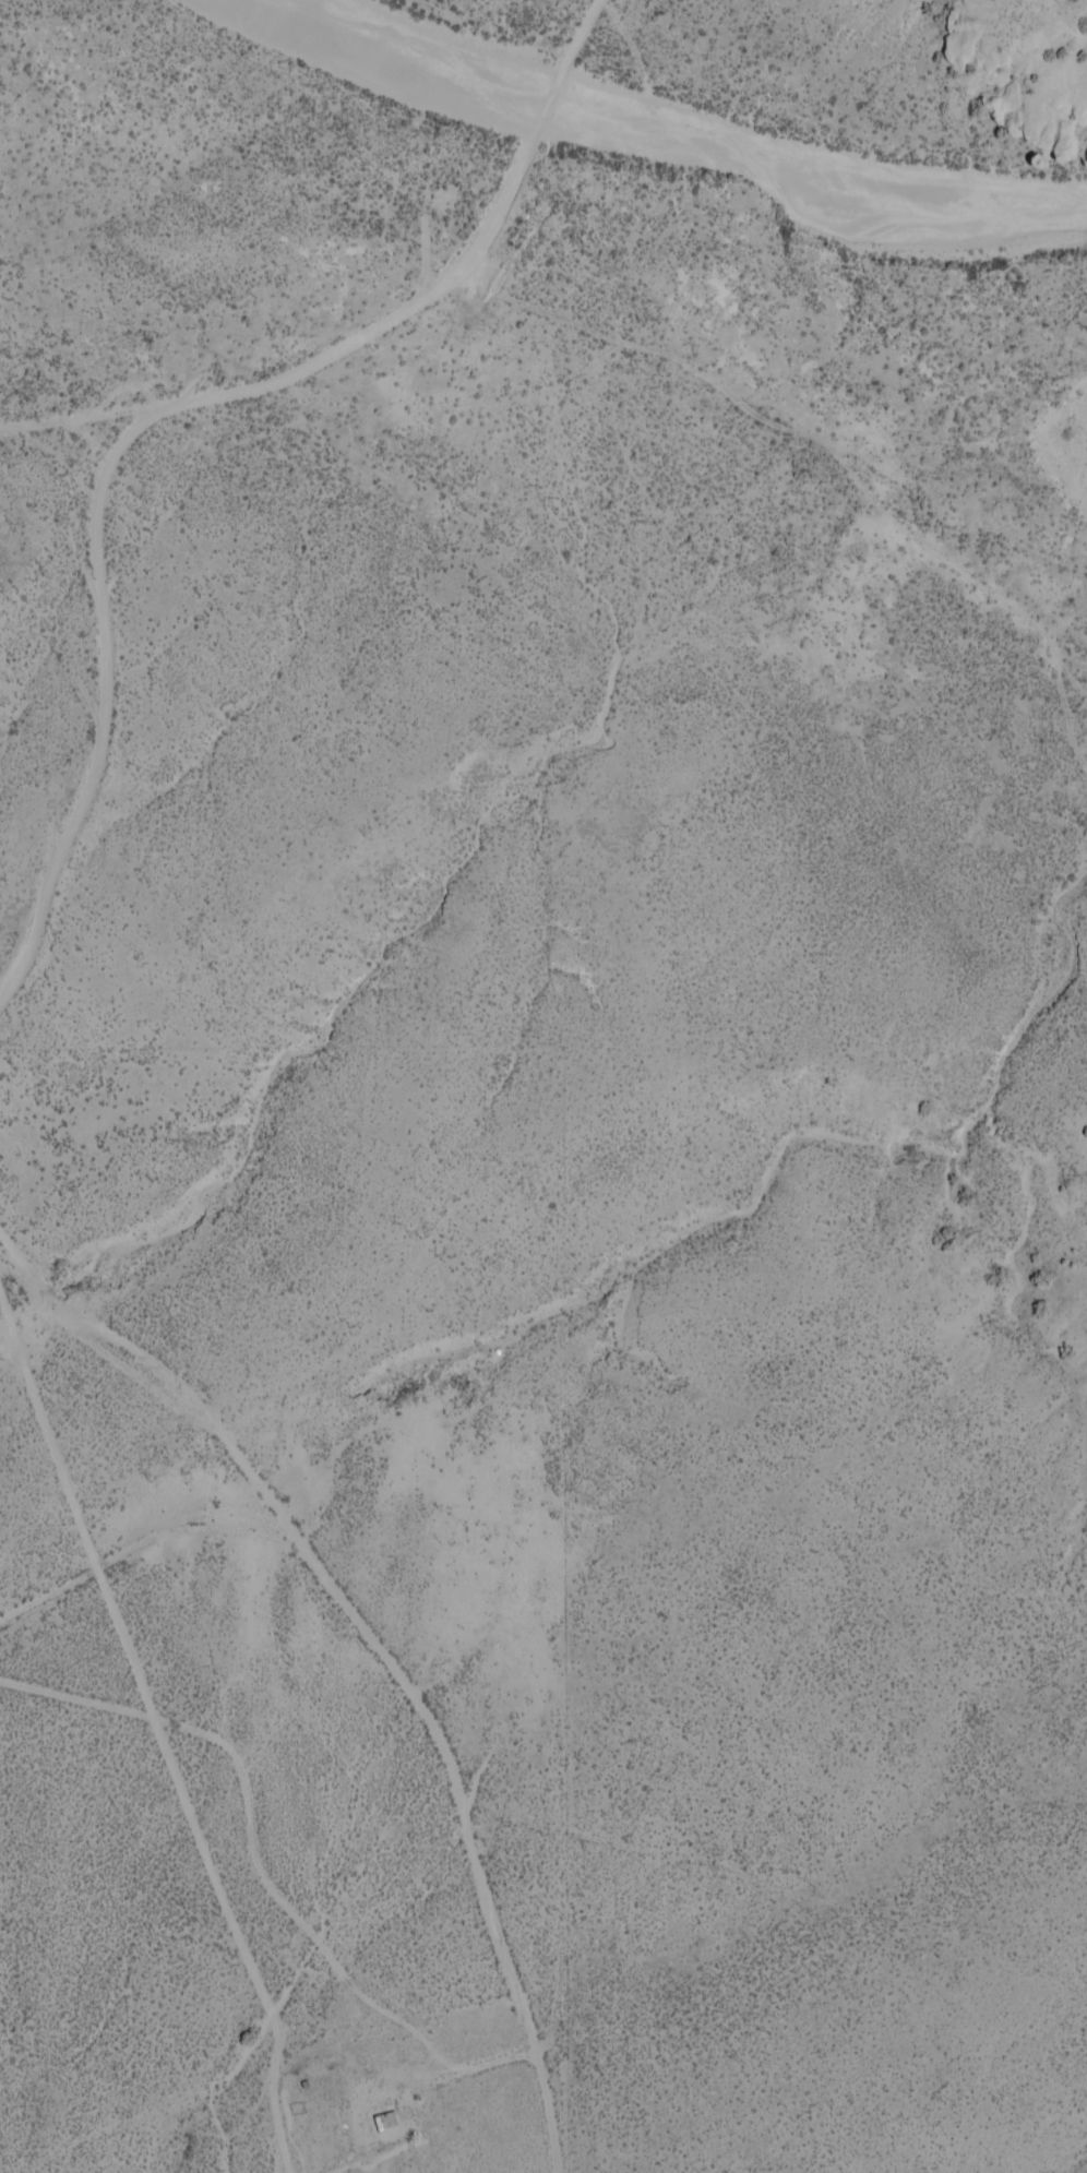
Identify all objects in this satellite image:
river: (677, 123)
building: (385, 2123)

